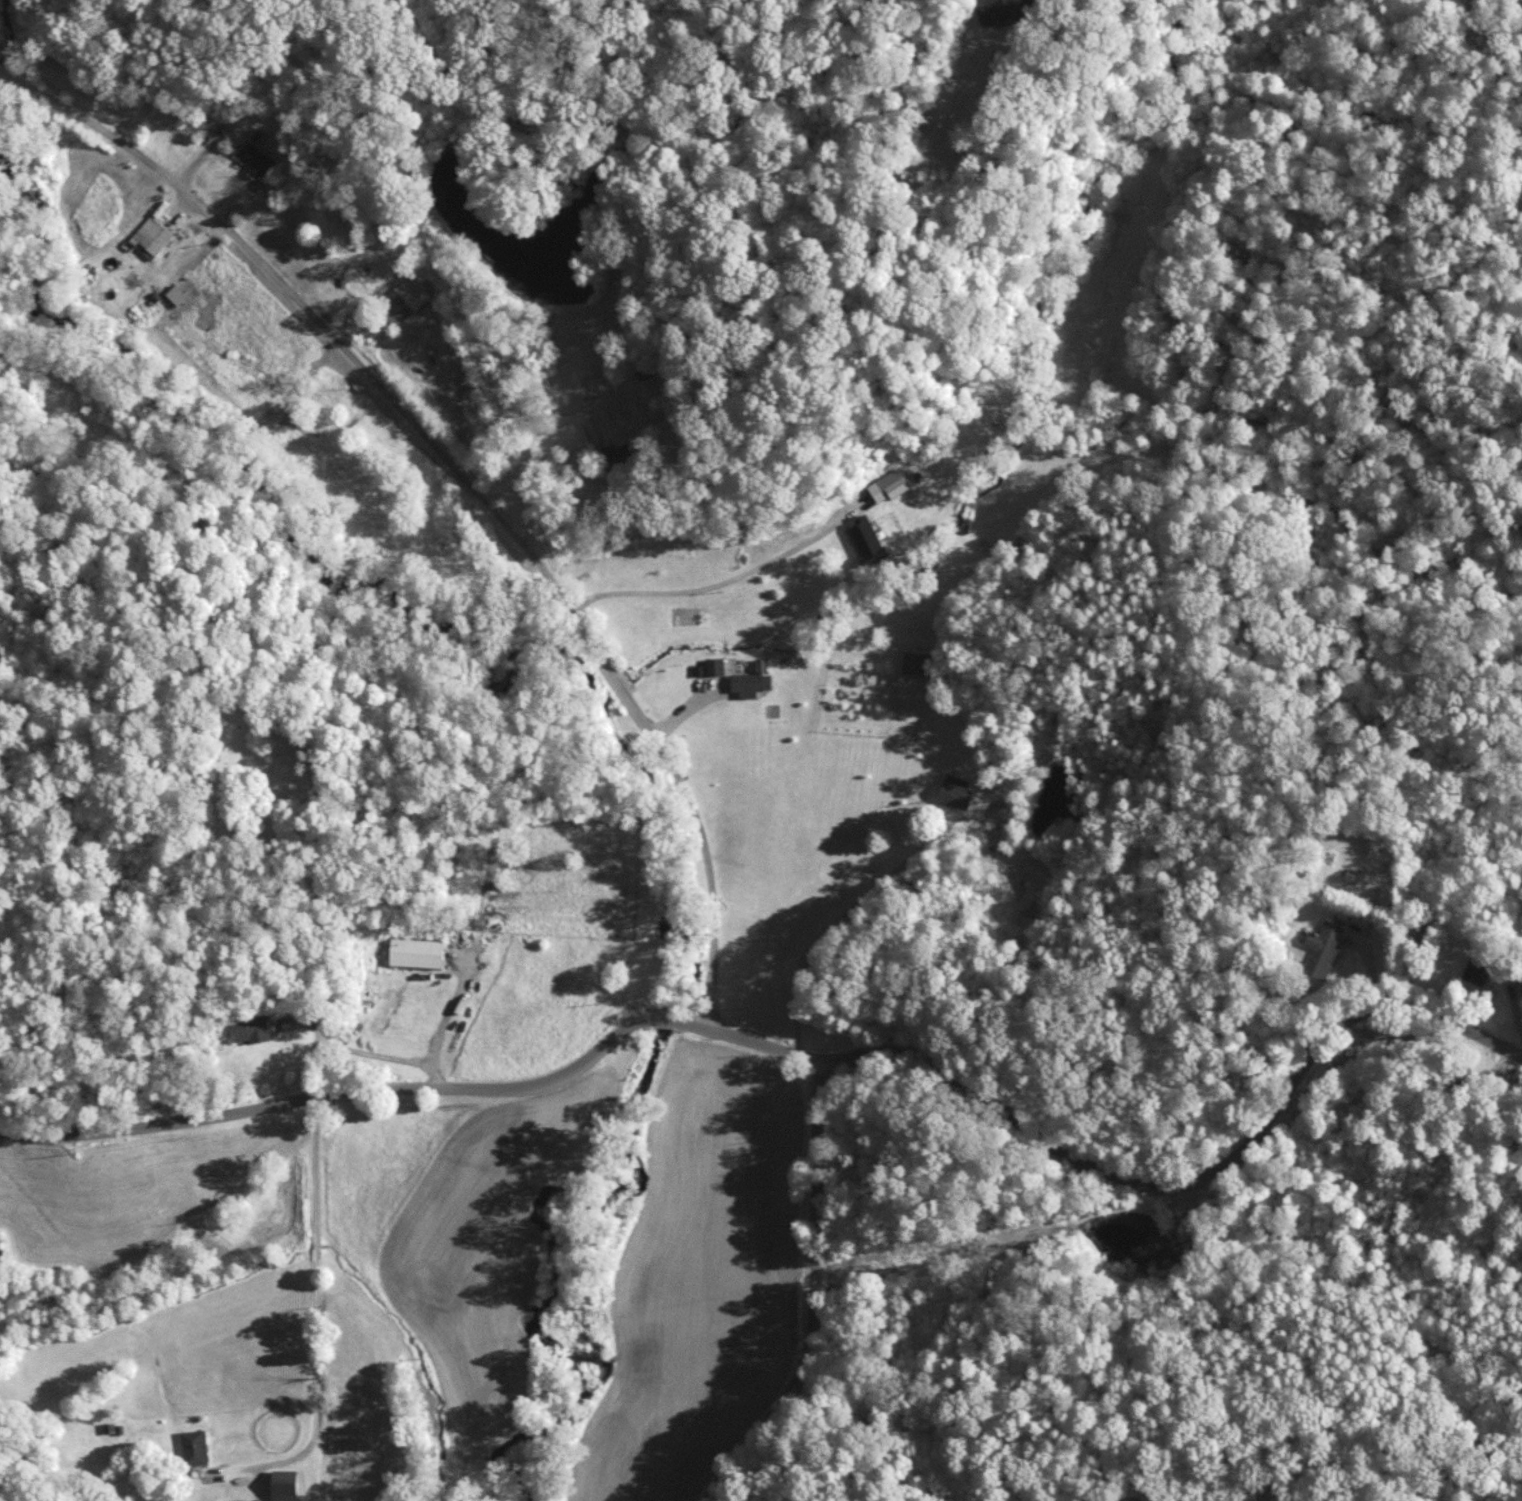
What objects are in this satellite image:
building: (995, 10)
building: (253, 158)
building: (151, 237)
road: (294, 288)
building: (403, 299)
building: (614, 455)
building: (888, 485)
building: (866, 541)
road: (713, 586)
building: (915, 662)
building: (715, 666)
road: (616, 681)
building: (750, 683)
building: (955, 791)
road: (854, 906)
building: (1322, 948)
building: (416, 951)
road: (1371, 966)
building: (1475, 969)
road: (439, 1026)
building: (251, 1029)
road: (352, 1047)
road: (370, 1092)
road: (1157, 1184)
road: (817, 1298)
road: (320, 1327)
building: (193, 1446)
building: (287, 1484)

